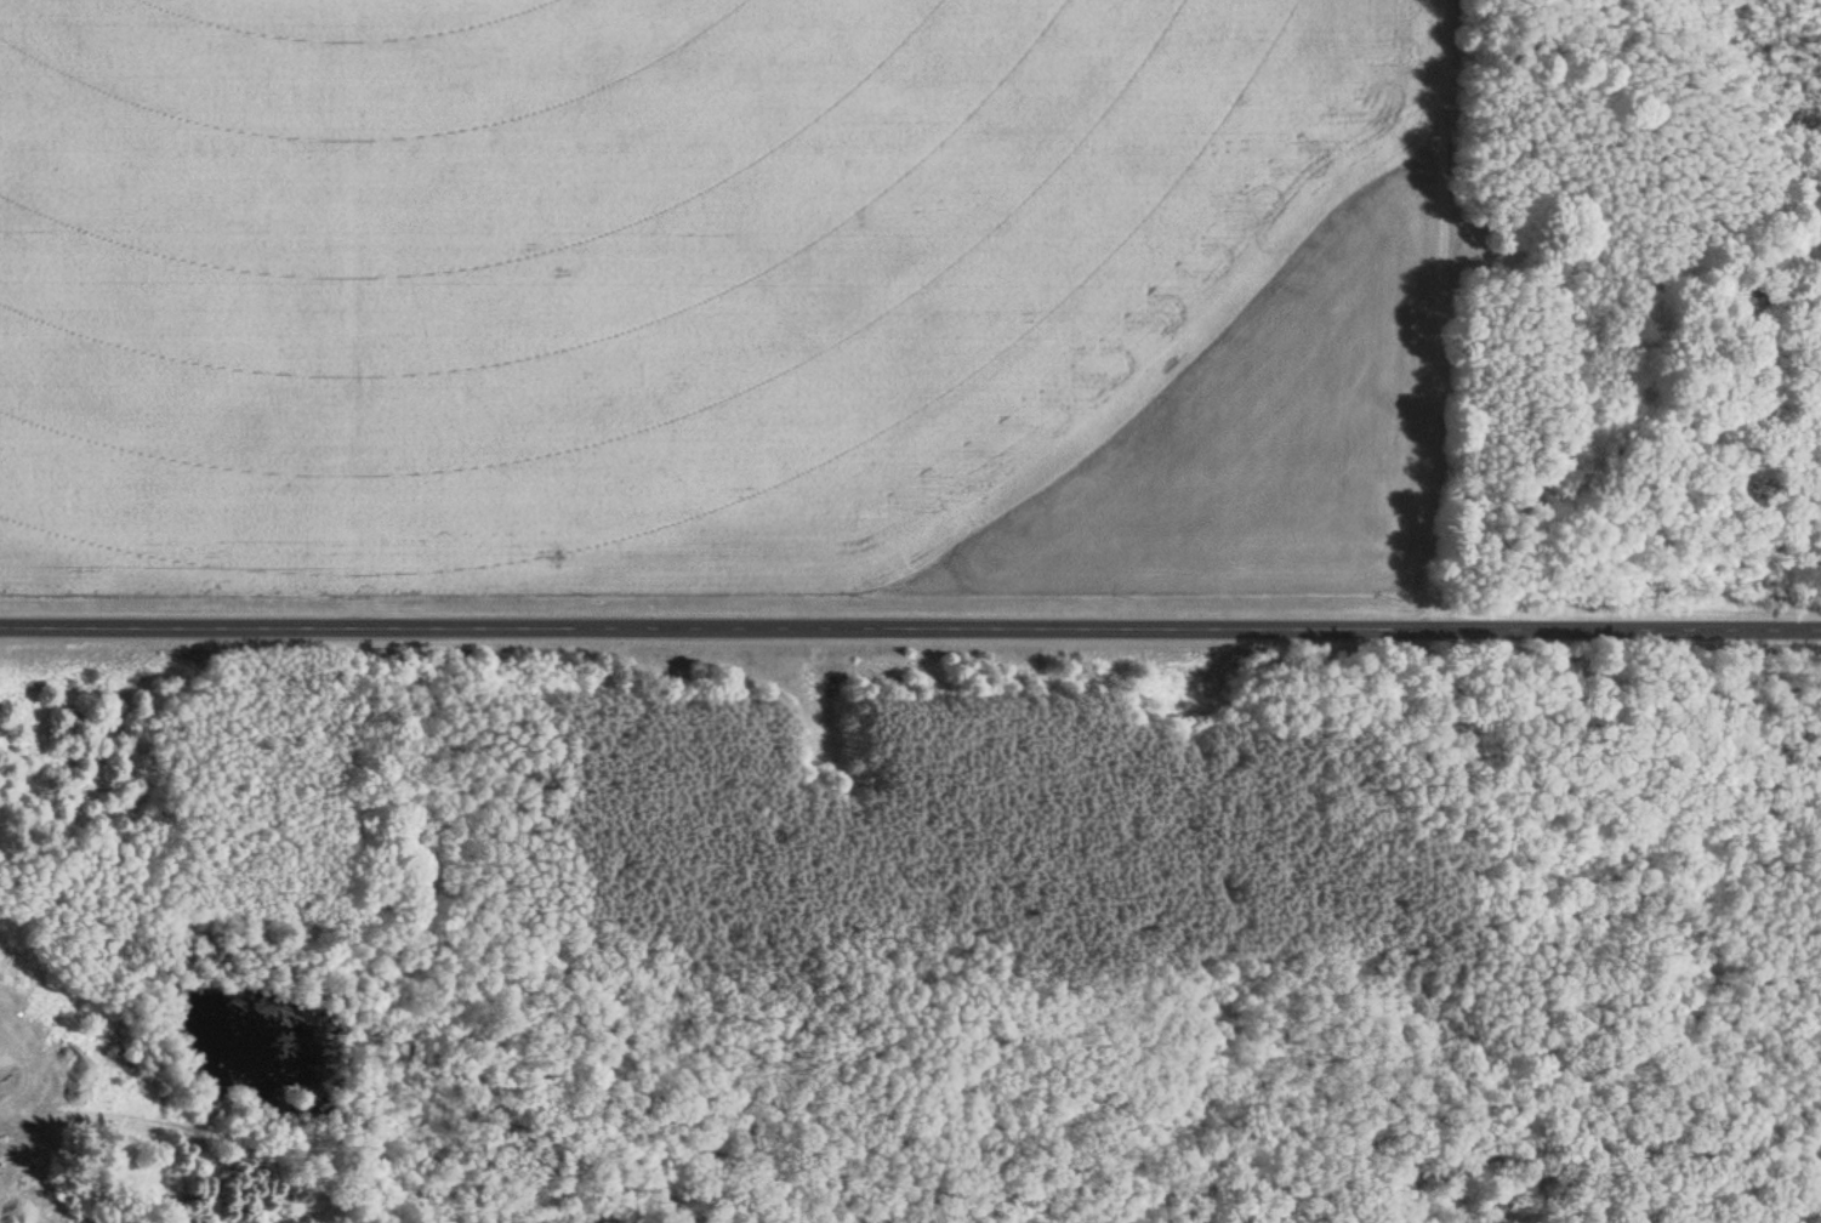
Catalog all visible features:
road: (910, 626)

